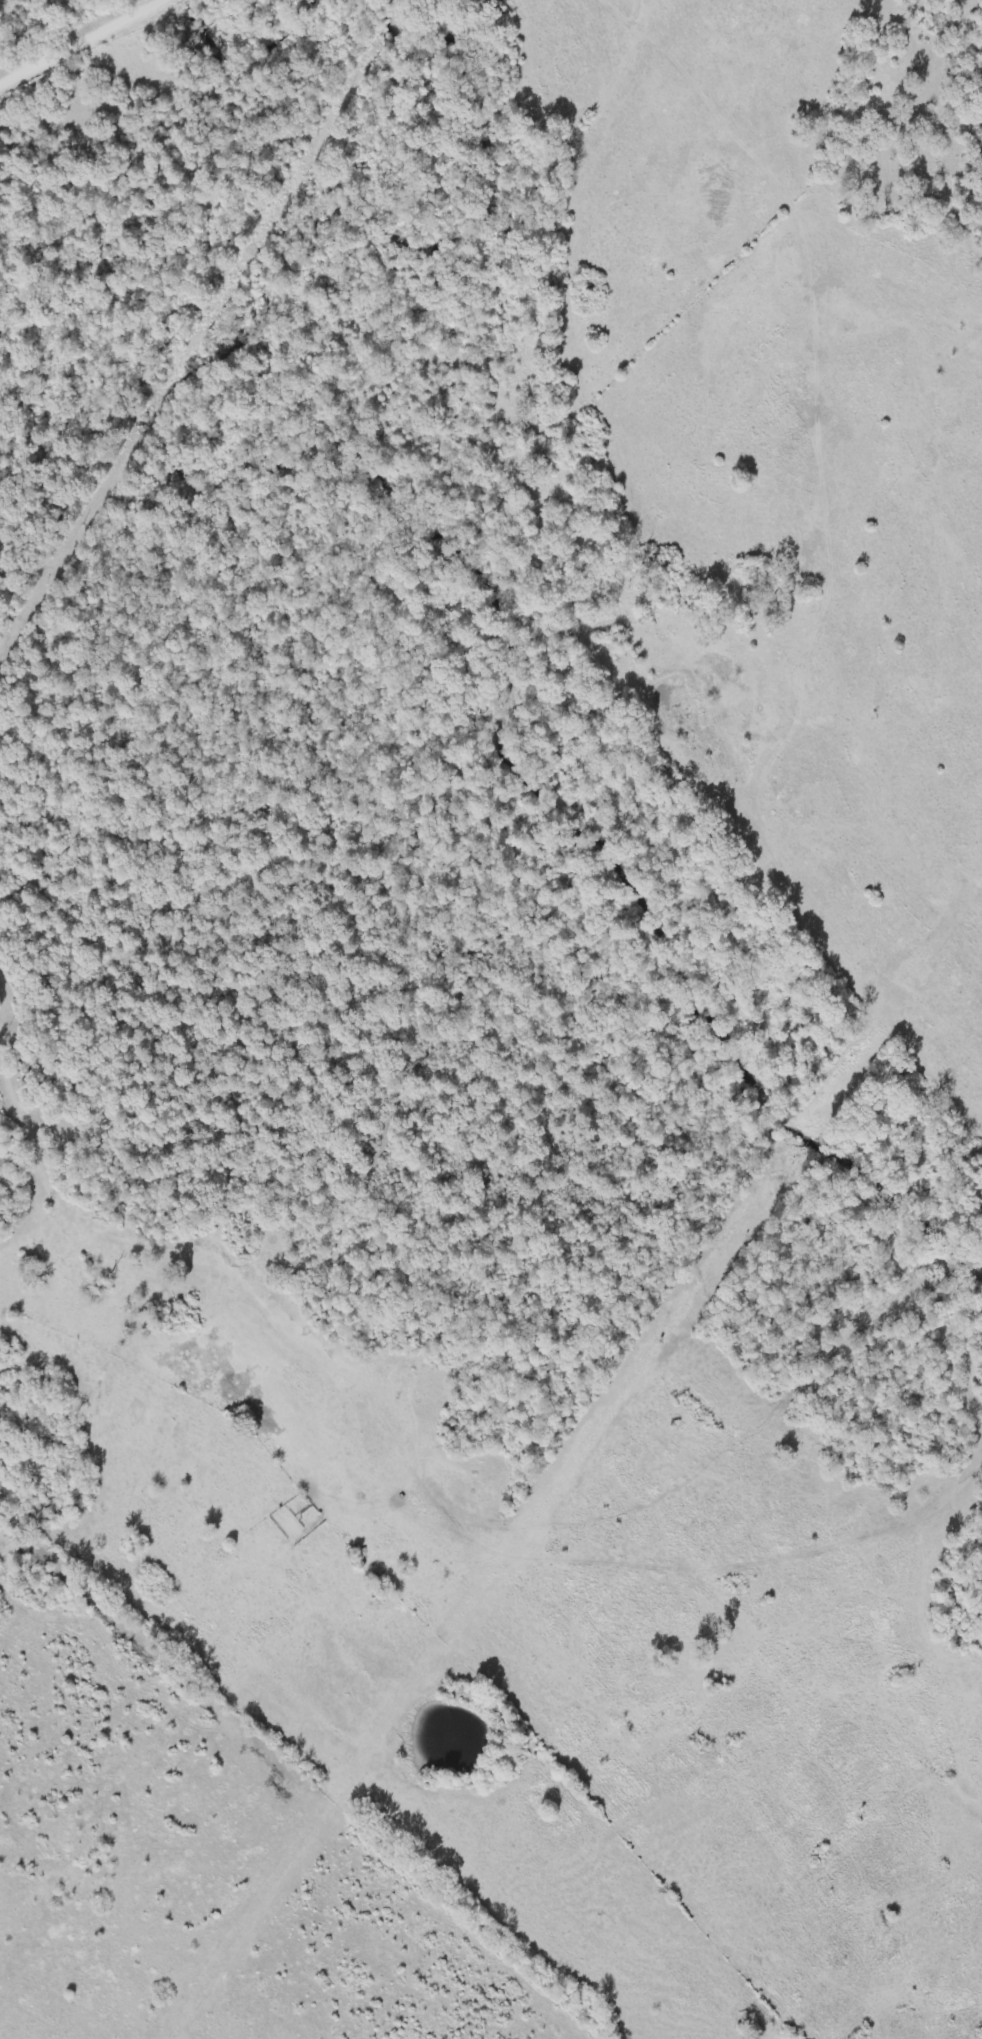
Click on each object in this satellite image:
road: (97, 59)

